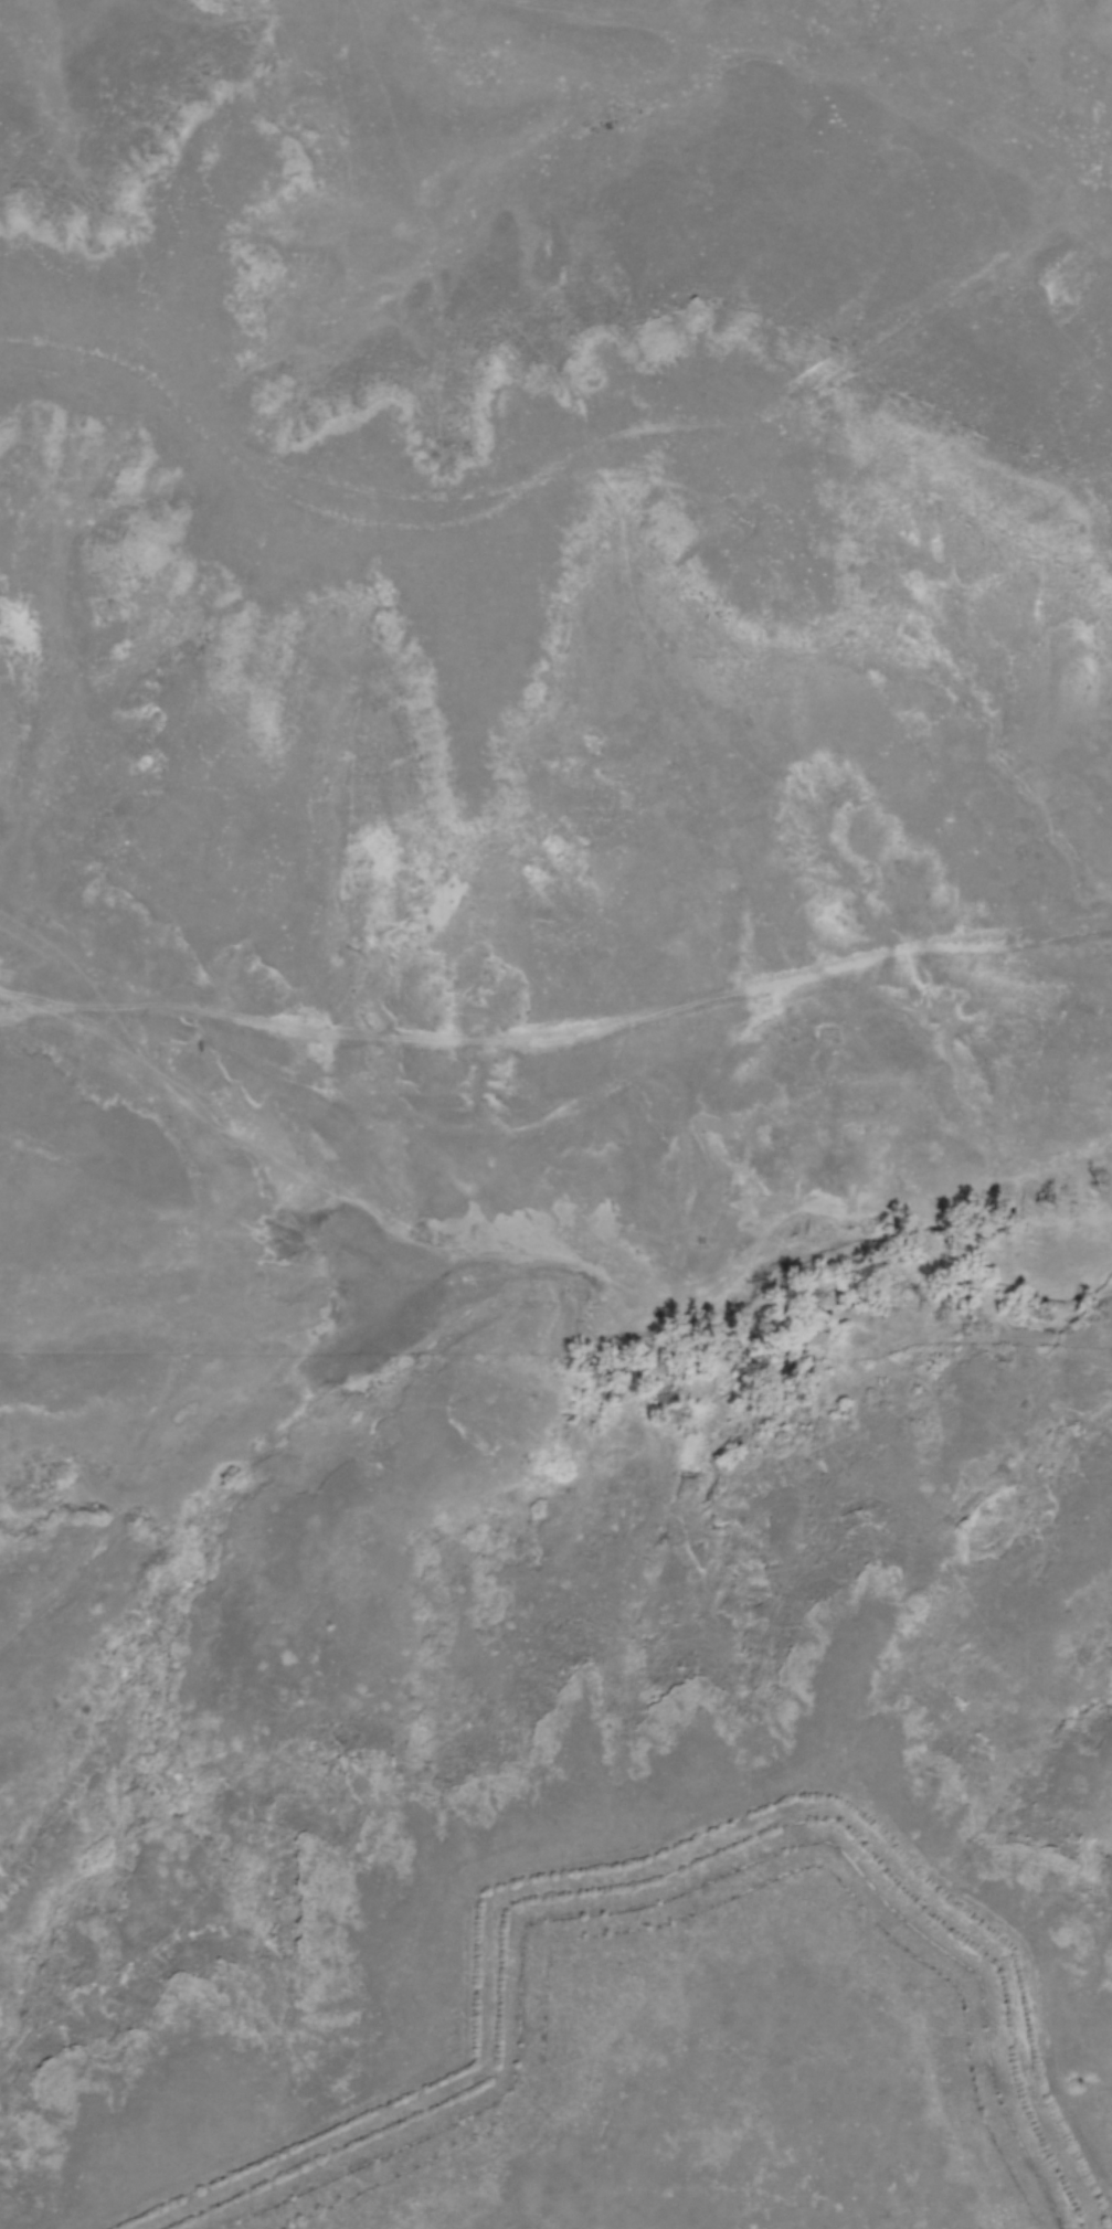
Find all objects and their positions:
road: (560, 1042)

